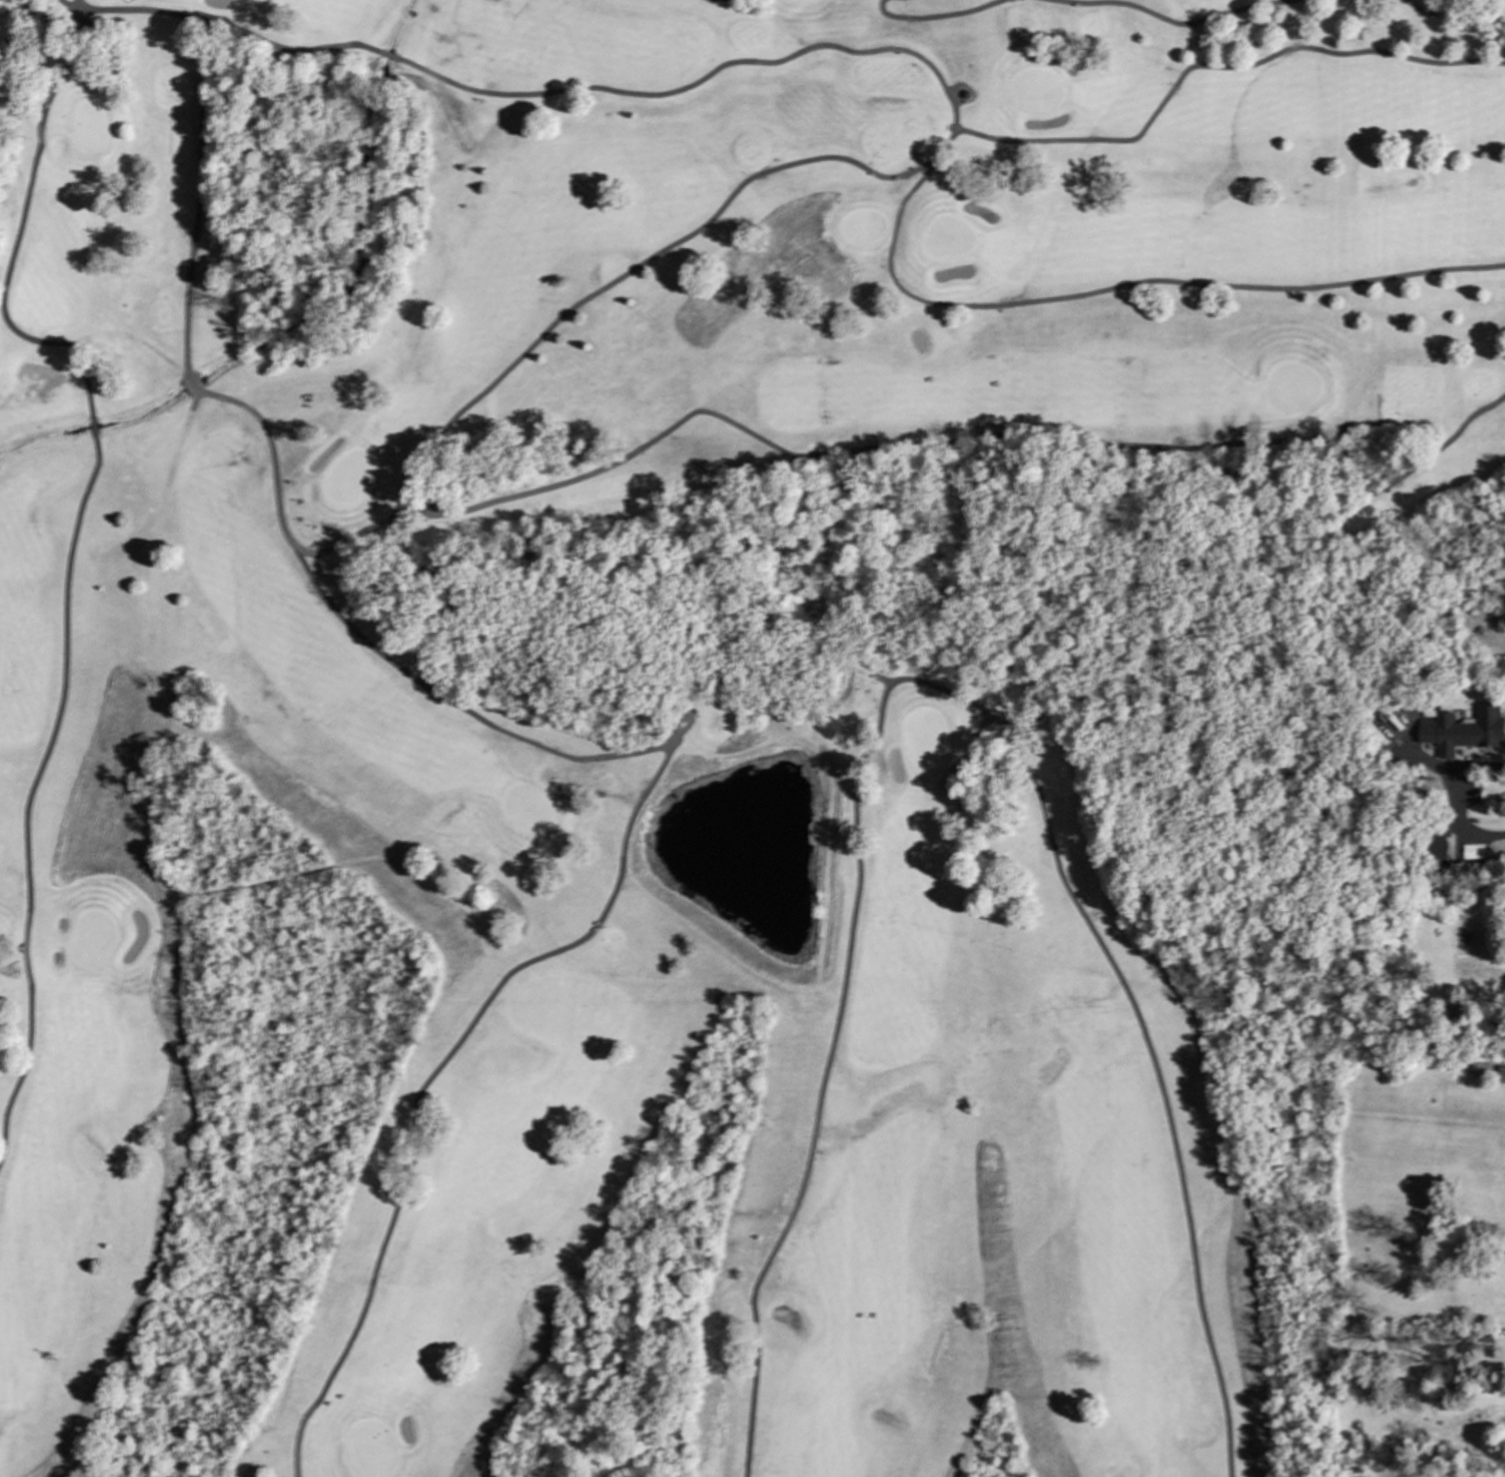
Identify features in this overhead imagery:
road: (1430, 8)
road: (58, 16)
road: (932, 16)
road: (1173, 22)
road: (229, 26)
road: (390, 57)
road: (42, 58)
road: (1213, 66)
road: (764, 171)
road: (197, 201)
road: (17, 233)
road: (1127, 286)
road: (190, 386)
road: (91, 427)
road: (967, 452)
road: (936, 688)
park: (700, 717)
building: (828, 727)
building: (1461, 730)
road: (30, 789)
road: (1459, 801)
road: (594, 923)
building: (1500, 1075)

